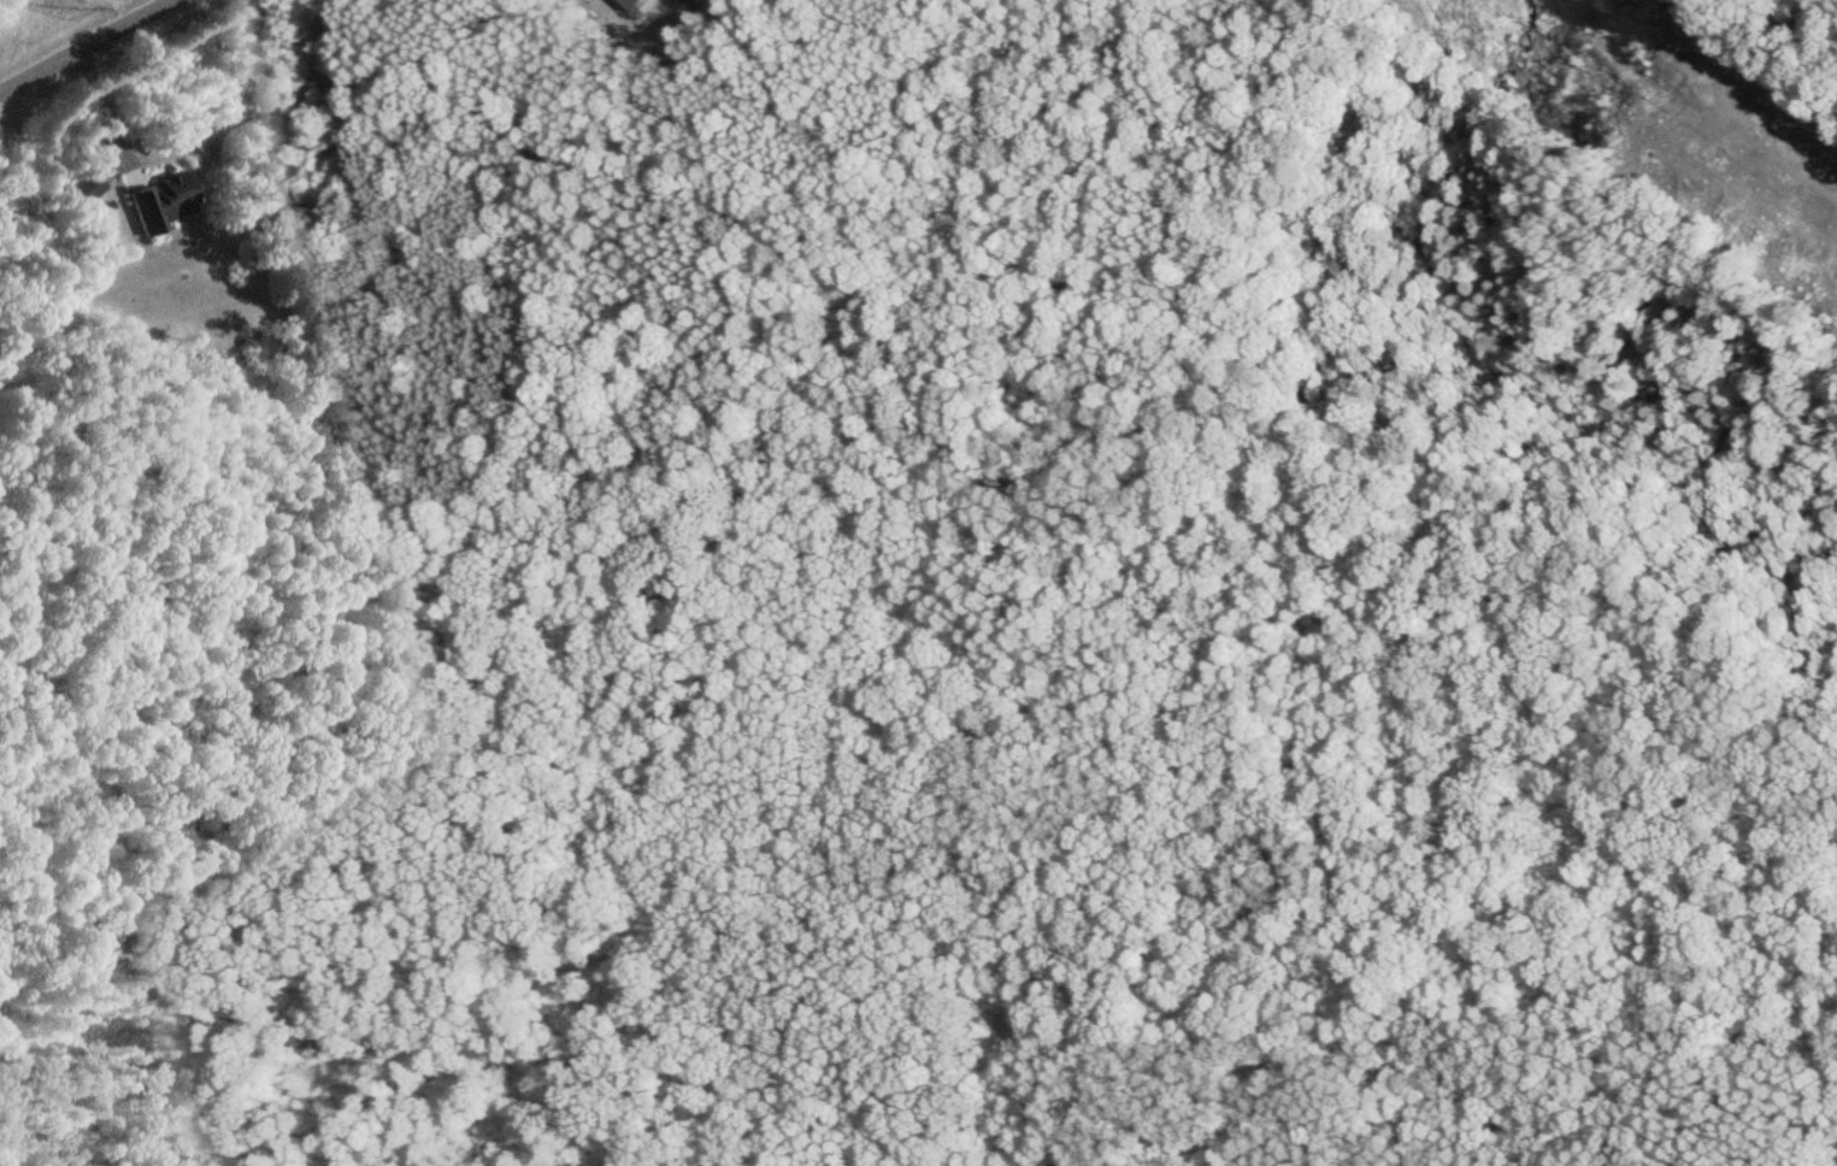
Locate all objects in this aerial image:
power tower: (63, 7)
road: (78, 41)
power tower: (1658, 81)
road: (95, 104)
building: (158, 204)

